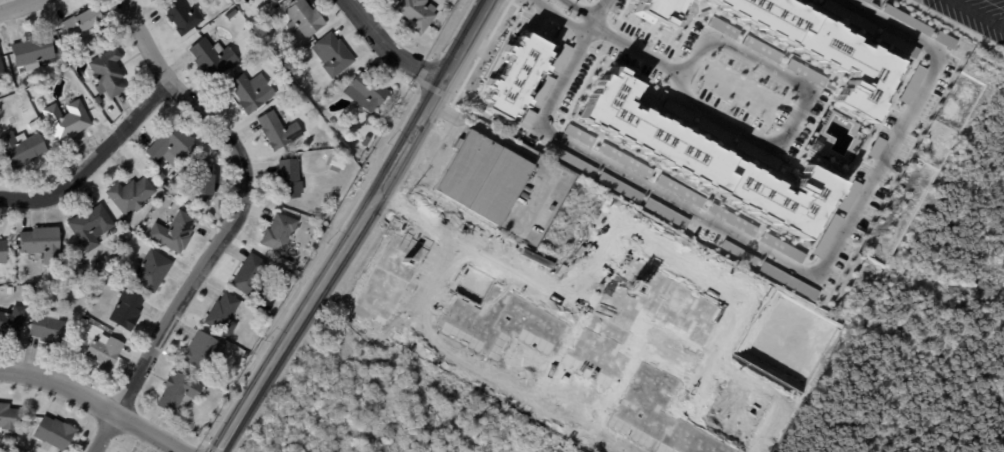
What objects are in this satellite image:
building: (274, 0)
building: (810, 0)
building: (866, 1)
road: (542, 2)
road: (546, 2)
road: (16, 6)
building: (660, 10)
building: (417, 13)
building: (701, 13)
building: (181, 14)
road: (976, 14)
building: (846, 15)
parking lot: (973, 15)
building: (304, 18)
building: (905, 20)
building: (82, 22)
road: (585, 26)
building: (722, 27)
road: (449, 29)
building: (944, 38)
building: (896, 43)
building: (56, 44)
road: (631, 46)
road: (388, 48)
building: (761, 48)
building: (825, 48)
building: (33, 50)
building: (332, 52)
building: (211, 56)
building: (559, 57)
building: (108, 72)
building: (804, 72)
building: (2, 73)
road: (425, 73)
building: (514, 75)
building: (289, 81)
building: (910, 83)
building: (251, 89)
building: (542, 89)
building: (365, 90)
building: (97, 100)
building: (677, 109)
road: (796, 111)
building: (65, 118)
building: (527, 118)
building: (33, 125)
building: (714, 129)
building: (278, 131)
building: (579, 134)
building: (366, 141)
building: (172, 146)
road: (513, 147)
building: (875, 147)
building: (21, 149)
building: (757, 153)
building: (570, 159)
building: (624, 159)
building: (707, 159)
road: (94, 160)
building: (334, 163)
building: (481, 176)
building: (290, 179)
building: (201, 182)
building: (620, 186)
building: (680, 190)
building: (129, 193)
building: (849, 195)
parking lot: (533, 201)
building: (666, 212)
building: (732, 219)
road: (233, 222)
building: (91, 224)
road: (633, 226)
road: (356, 228)
building: (172, 230)
building: (279, 233)
building: (828, 235)
building: (40, 242)
building: (782, 246)
building: (2, 250)
building: (740, 252)
road: (771, 253)
building: (287, 263)
building: (96, 268)
building: (150, 269)
road: (309, 271)
building: (250, 276)
building: (279, 276)
building: (790, 280)
road: (951, 284)
building: (74, 287)
building: (11, 291)
building: (126, 310)
building: (223, 315)
building: (11, 323)
building: (48, 329)
building: (104, 352)
building: (203, 352)
road: (478, 366)
building: (178, 393)
road: (771, 395)
road: (95, 402)
building: (8, 416)
building: (53, 432)

